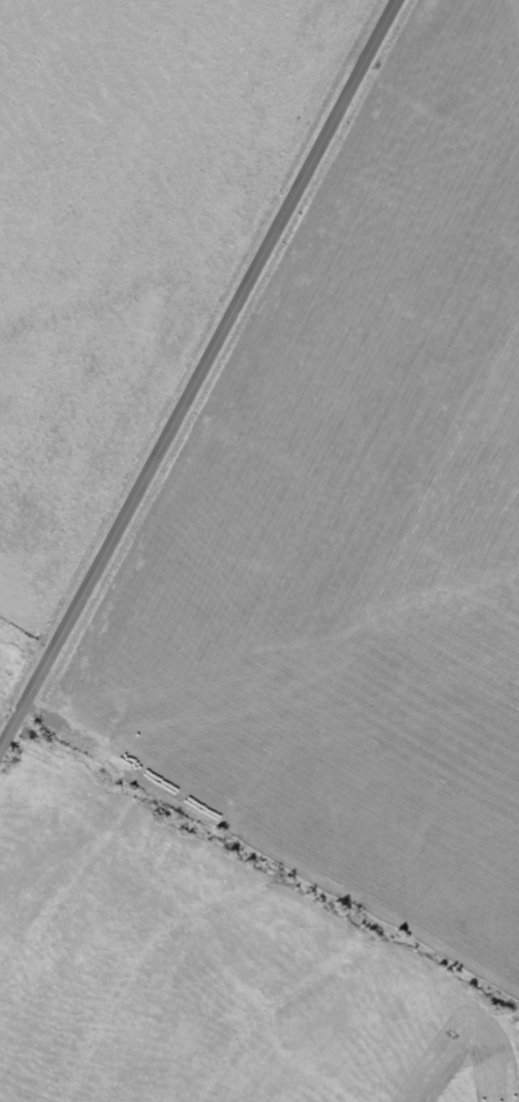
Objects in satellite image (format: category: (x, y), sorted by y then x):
road: (196, 368)

